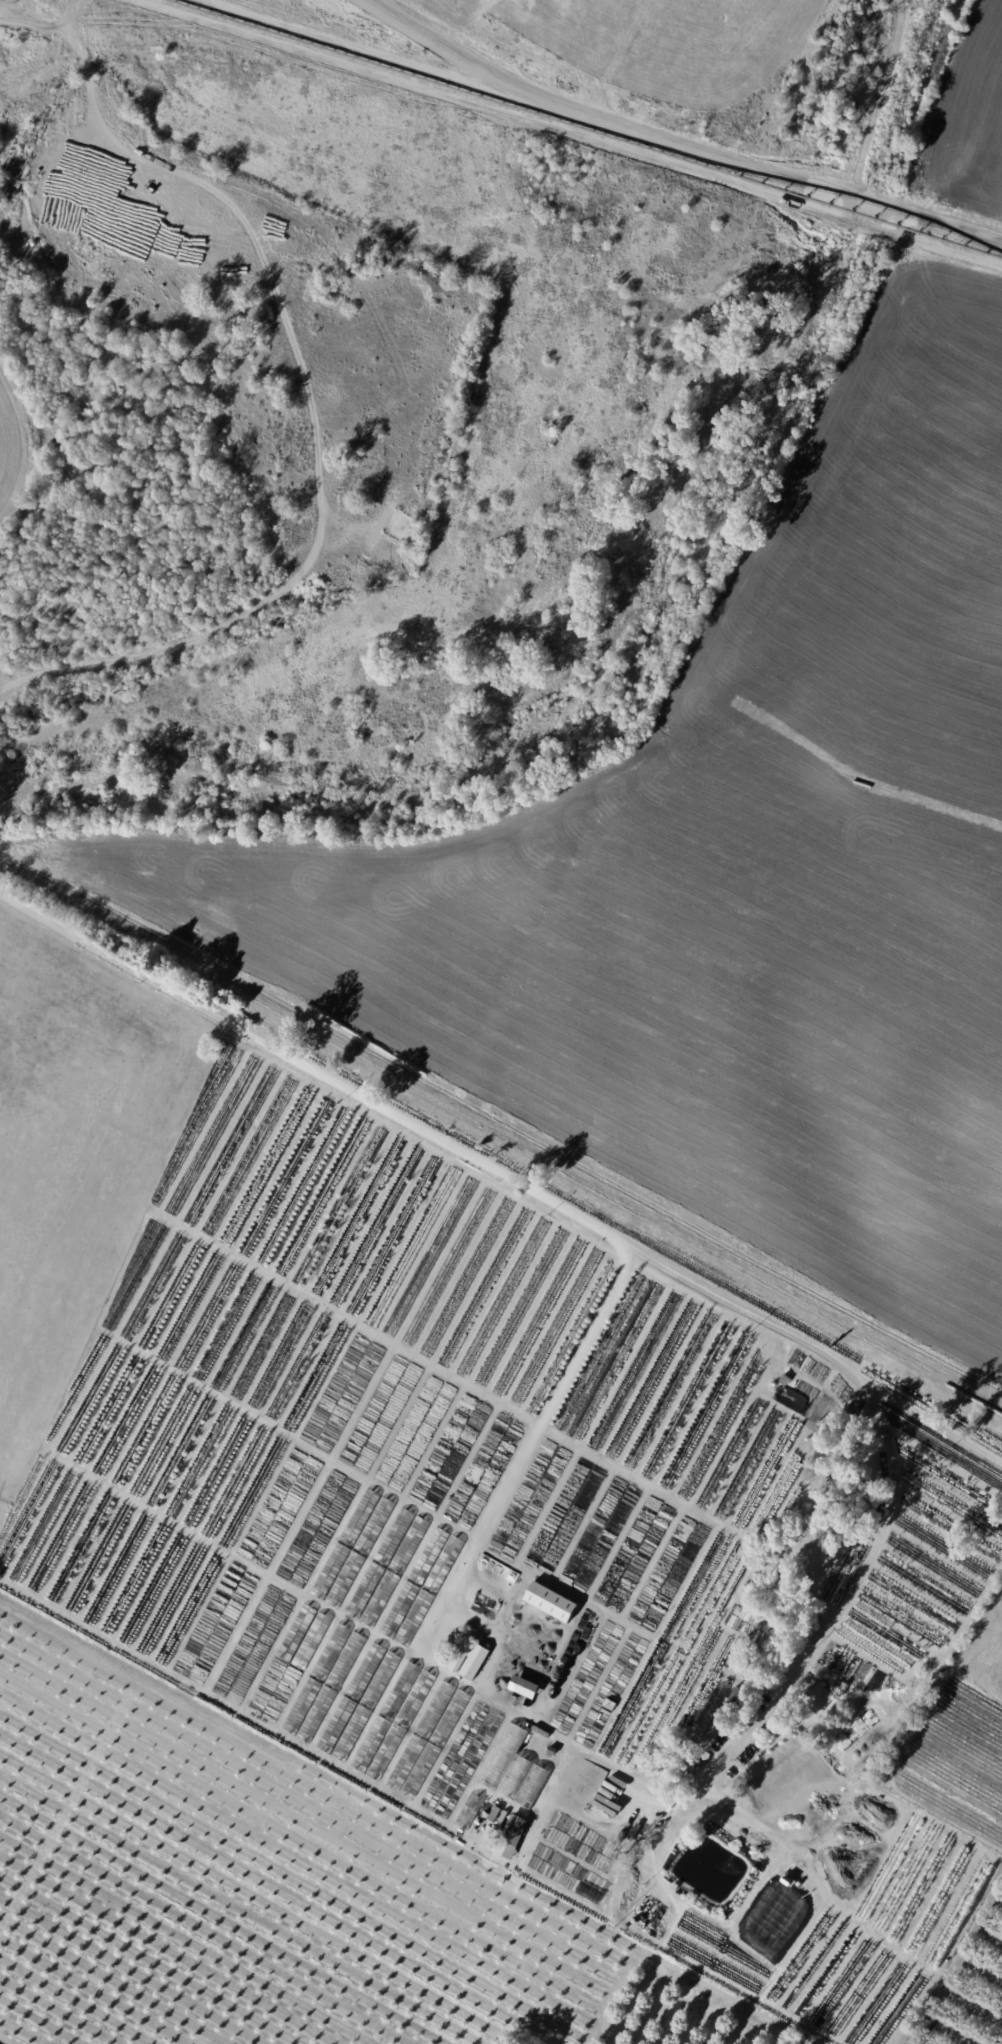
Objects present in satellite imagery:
road: (608, 120)
quarry: (337, 142)
road: (870, 196)
road: (940, 216)
road: (572, 1220)
building: (785, 1380)
building: (430, 1557)
building: (444, 1565)
building: (365, 1591)
road: (502, 1592)
building: (381, 1600)
building: (550, 1601)
building: (401, 1610)
building: (415, 1619)
road: (497, 1635)
building: (332, 1652)
road: (423, 1654)
building: (461, 1655)
building: (477, 1655)
building: (347, 1661)
building: (365, 1672)
building: (381, 1680)
building: (524, 1688)
building: (401, 1691)
building: (416, 1699)
building: (818, 1700)
building: (303, 1706)
building: (436, 1709)
building: (317, 1715)
building: (450, 1718)
building: (337, 1725)
building: (470, 1729)
building: (352, 1733)
building: (485, 1737)
building: (372, 1745)
building: (531, 1752)
building: (386, 1753)
building: (420, 1772)
building: (513, 1777)
building: (441, 1783)
building: (455, 1791)
building: (474, 1803)
building: (564, 1804)
building: (556, 1808)
building: (493, 1815)
building: (547, 1817)
building: (512, 1834)
building: (791, 1875)
crop: (246, 1880)
building: (925, 2019)

